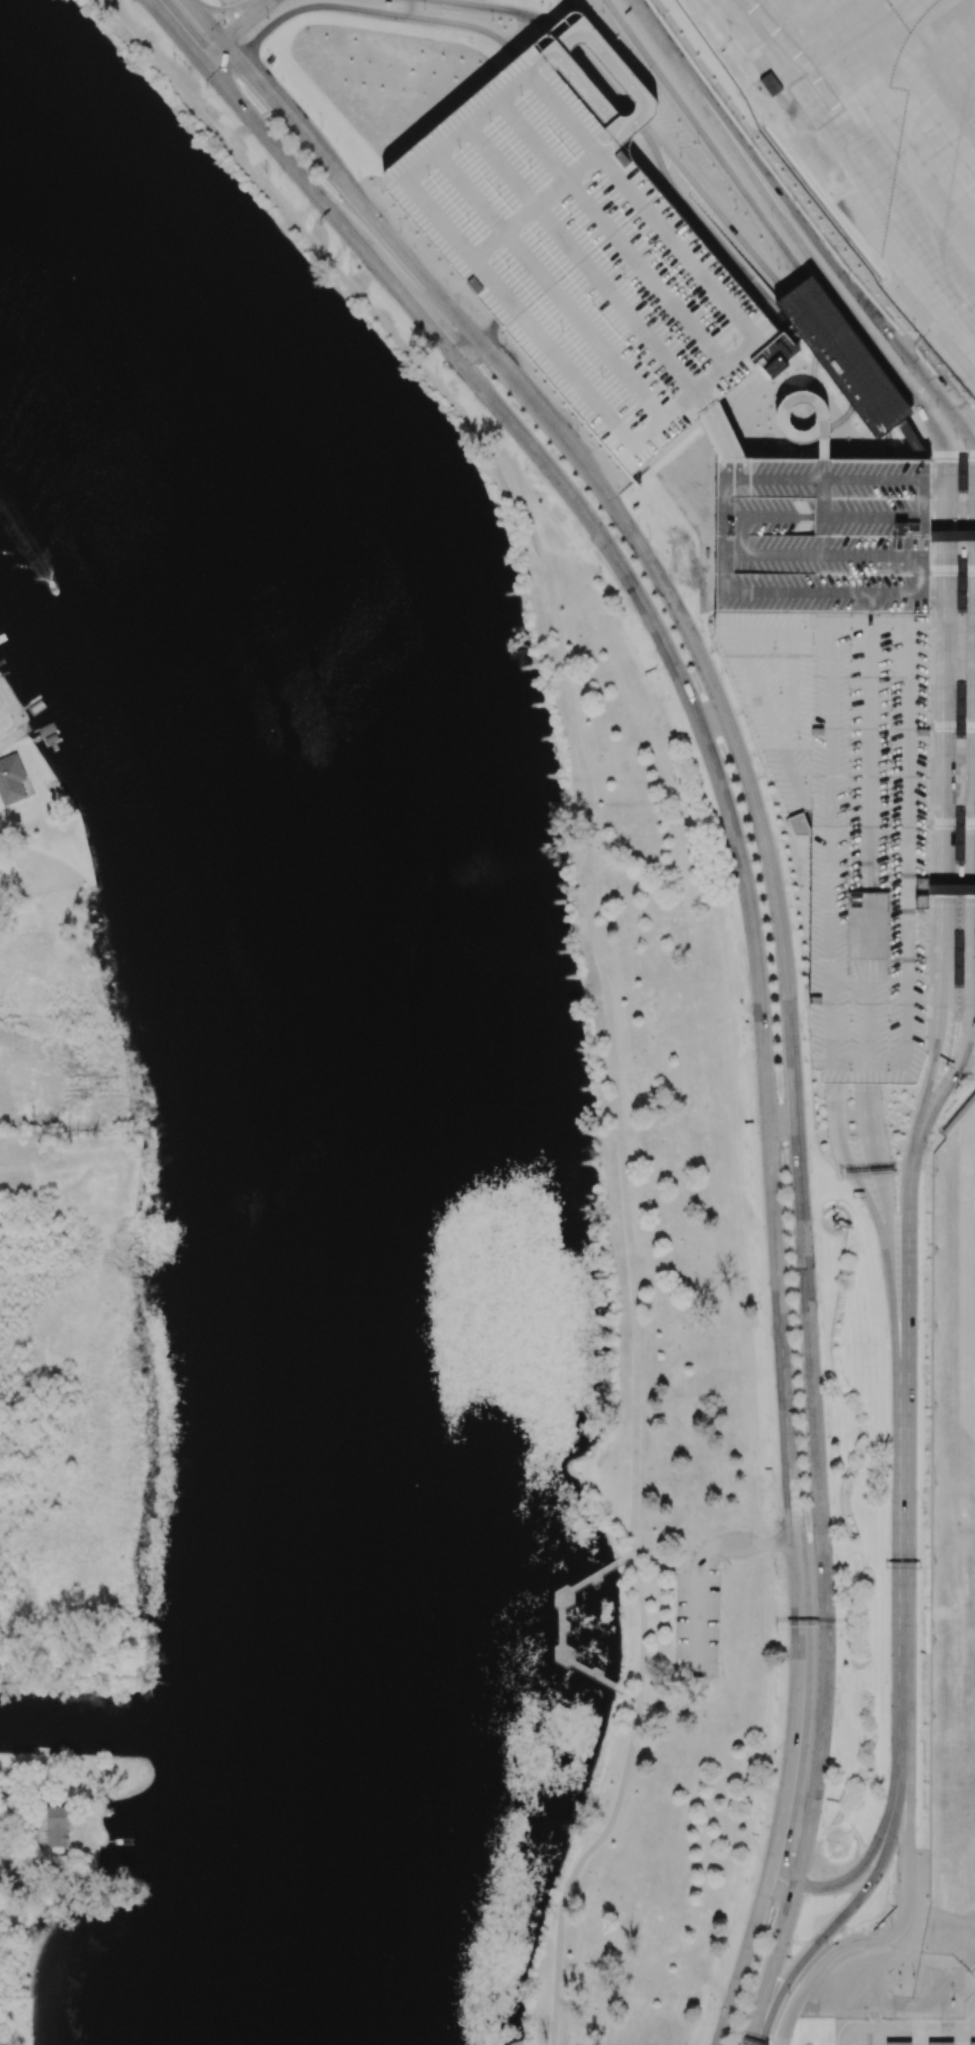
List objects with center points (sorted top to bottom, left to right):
building: (386, 0)
building: (403, 0)
building: (386, 2)
street lamp: (550, 5)
street lamp: (425, 7)
road: (567, 7)
road: (501, 8)
airport taxiway: (968, 9)
road: (374, 11)
road: (225, 12)
street lamp: (658, 16)
street lamp: (267, 17)
street lamp: (492, 20)
street lamp: (223, 24)
road: (211, 27)
road: (655, 30)
road: (236, 31)
road: (521, 31)
road: (179, 33)
traffic signals: (234, 34)
road: (567, 35)
traffic signals: (196, 53)
road: (758, 56)
street lamp: (172, 58)
street lamp: (271, 58)
road: (221, 61)
traffic signals: (242, 64)
building: (572, 73)
road: (604, 77)
building: (769, 85)
road: (272, 98)
street lamp: (693, 99)
road: (638, 117)
road: (691, 119)
street lamp: (322, 124)
road: (733, 134)
airport apron: (888, 137)
street lamp: (699, 143)
street lamp: (753, 146)
road: (281, 152)
street lamp: (681, 156)
road: (662, 169)
street lamp: (266, 173)
airport taxiway: (946, 197)
street lamp: (794, 200)
street lamp: (736, 210)
road: (719, 213)
road: (807, 213)
street lamp: (772, 216)
street lamp: (401, 230)
road: (392, 240)
road: (800, 243)
road: (319, 251)
building: (581, 260)
parking lot: (581, 260)
road: (792, 263)
road: (735, 264)
street lamp: (779, 269)
street lamp: (351, 272)
road: (842, 273)
street lamp: (850, 274)
road: (395, 287)
street lamp: (860, 308)
road: (487, 328)
road: (456, 340)
street lamp: (885, 340)
road: (910, 340)
street lamp: (506, 343)
building: (779, 349)
road: (811, 357)
building: (849, 359)
street lamp: (924, 360)
street lamp: (904, 365)
street lamp: (437, 373)
road: (928, 379)
road: (531, 403)
street lamp: (938, 409)
road: (925, 413)
road: (825, 418)
street lamp: (578, 427)
road: (969, 432)
road: (816, 433)
building: (720, 434)
road: (915, 435)
street lamp: (957, 438)
building: (917, 439)
road: (890, 445)
street lamp: (966, 449)
road: (950, 453)
road: (926, 456)
road: (825, 470)
street lamp: (527, 472)
building: (965, 473)
road: (775, 480)
road: (875, 481)
road: (824, 499)
road: (925, 500)
road: (779, 517)
road: (874, 518)
road: (953, 533)
road: (724, 536)
road: (744, 536)
street lamp: (651, 538)
building: (965, 552)
road: (833, 556)
street lamp: (598, 572)
road: (922, 575)
building: (964, 584)
road: (799, 593)
road: (898, 594)
road: (952, 599)
road: (874, 609)
road: (854, 624)
road: (893, 624)
street lamp: (713, 651)
road: (561, 655)
street lamp: (660, 675)
airport: (782, 709)
building: (963, 710)
road: (952, 724)
building: (842, 726)
parking lot: (842, 726)
road: (942, 729)
road: (872, 759)
street lamp: (760, 778)
building: (11, 780)
street lamp: (702, 793)
road: (560, 805)
road: (579, 805)
road: (952, 822)
building: (962, 837)
road: (909, 861)
road: (832, 862)
building: (962, 872)
road: (951, 891)
road: (951, 895)
road: (972, 902)
street lamp: (794, 903)
street lamp: (731, 914)
road: (750, 916)
building: (961, 963)
road: (871, 1007)
street lamp: (804, 1039)
street lamp: (741, 1042)
road: (970, 1049)
road: (933, 1079)
road: (933, 1108)
road: (836, 1118)
road: (869, 1120)
building: (853, 1126)
park: (377, 1137)
road: (797, 1153)
street lamp: (815, 1170)
street lamp: (751, 1173)
road: (624, 1178)
road: (869, 1203)
road: (886, 1206)
street lamp: (935, 1248)
road: (907, 1264)
airport apron: (966, 1271)
street lamp: (921, 1275)
street lamp: (821, 1300)
park: (23, 1306)
street lamp: (758, 1307)
street lamp: (935, 1326)
street lamp: (884, 1336)
street lamp: (922, 1376)
street lamp: (934, 1406)
street lamp: (831, 1435)
street lamp: (767, 1440)
street lamp: (934, 1483)
road: (879, 1504)
street lamp: (920, 1506)
road: (739, 1545)
road: (627, 1558)
street lamp: (886, 1561)
street lamp: (933, 1561)
road: (655, 1562)
street lamp: (838, 1568)
road: (899, 1568)
street lamp: (775, 1572)
road: (700, 1621)
street lamp: (919, 1623)
road: (677, 1624)
parking lot: (698, 1624)
pier: (563, 1625)
road: (643, 1628)
street lamp: (933, 1639)
street lamp: (885, 1683)
road: (630, 1697)
street lamp: (775, 1699)
road: (664, 1700)
street lamp: (837, 1702)
street lamp: (932, 1717)
road: (794, 1722)
street lamp: (919, 1742)
road: (896, 1792)
street lamp: (760, 1823)
street lamp: (821, 1825)
building: (57, 1826)
street lamp: (896, 1845)
road: (576, 1867)
road: (785, 1868)
road: (840, 1872)
road: (7, 1876)
street lamp: (823, 1877)
road: (848, 1877)
street lamp: (899, 1882)
street lamp: (872, 1892)
street lamp: (890, 1924)
street lamp: (794, 1937)
road: (822, 1940)
street lamp: (825, 1944)
street lamp: (727, 1945)
road: (747, 1950)
street lamp: (787, 1957)
road: (968, 1959)
park: (48, 1963)
road: (773, 1963)
street lamp: (790, 1994)
road: (888, 2004)
road: (874, 2016)
road: (789, 2023)
road: (914, 2029)
road: (963, 2029)
street lamp: (773, 2030)
road: (857, 2030)
parking lot: (923, 2030)
road: (876, 2037)
road: (919, 2037)
road: (961, 2037)
building: (898, 2043)
building: (940, 2043)
building: (972, 2043)

